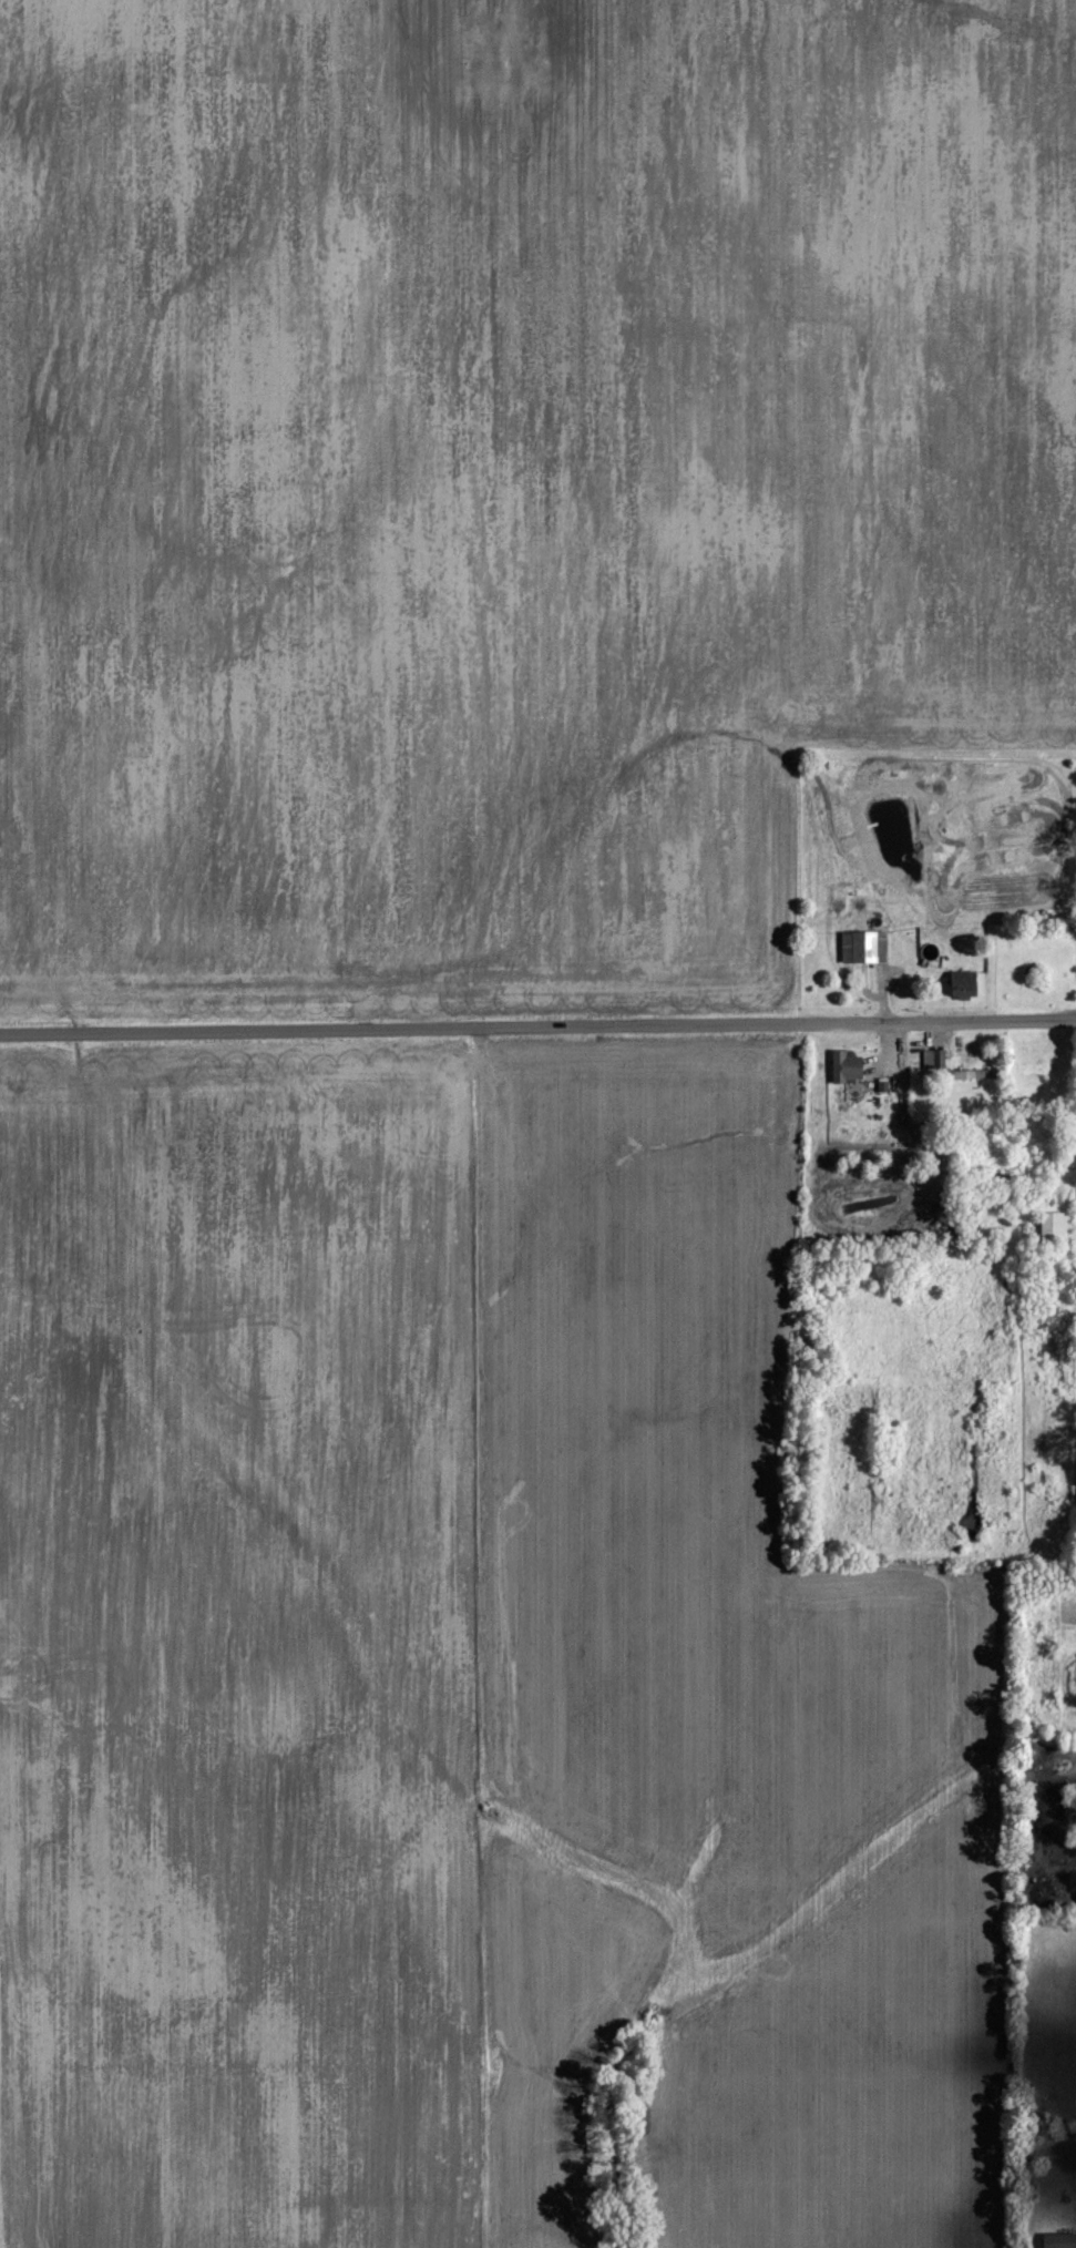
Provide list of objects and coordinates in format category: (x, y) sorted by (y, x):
building: (865, 947)
building: (965, 984)
road: (537, 1023)
building: (849, 1066)
building: (969, 1074)
building: (1055, 1226)
building: (1060, 2240)

